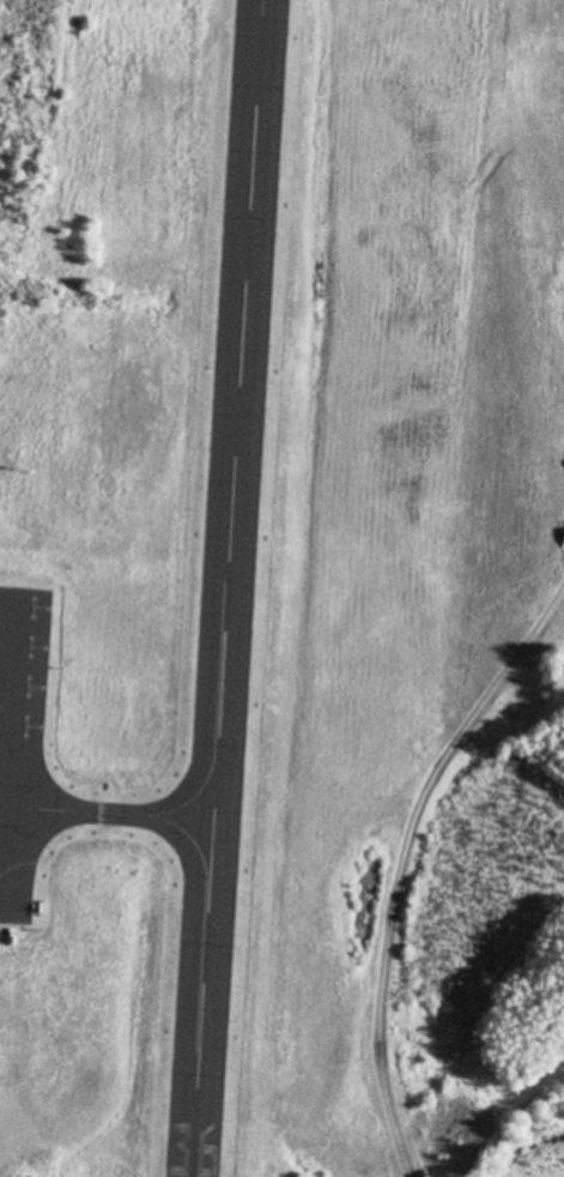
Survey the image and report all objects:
airport runway: (226, 587)
airport: (281, 588)
airport apron: (20, 746)
airport taxiway: (126, 816)
road: (398, 1097)

